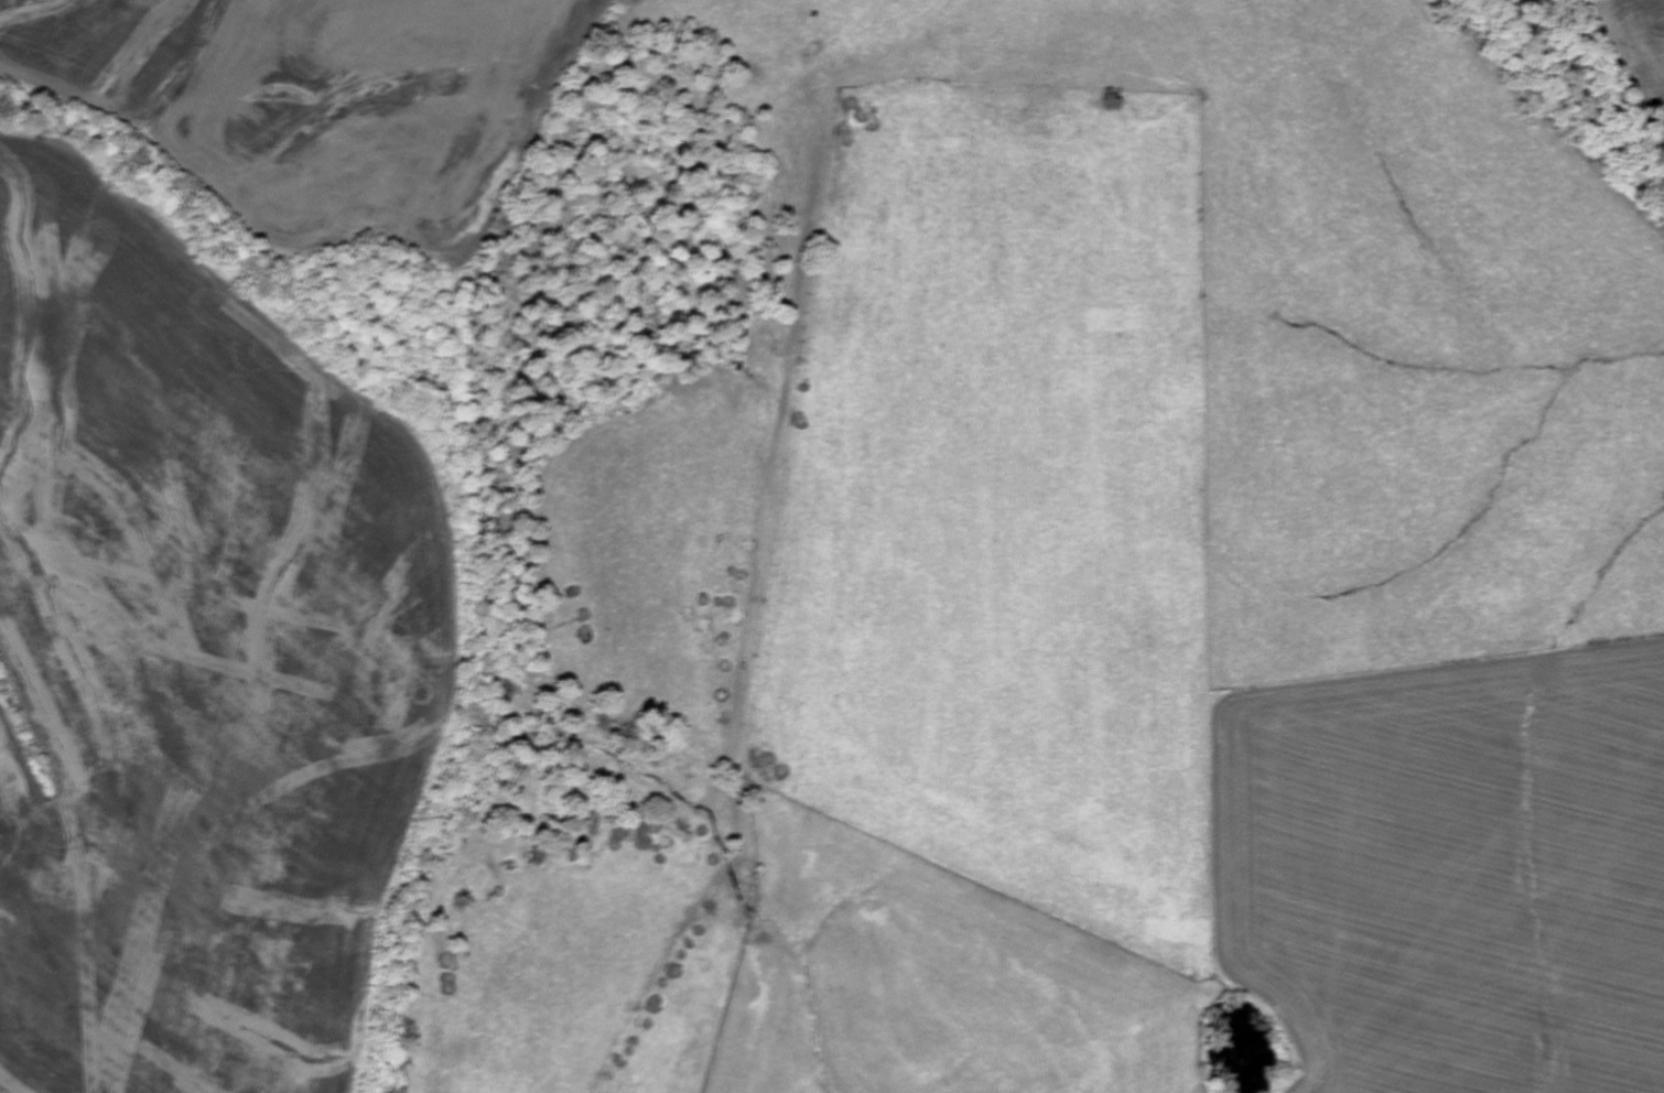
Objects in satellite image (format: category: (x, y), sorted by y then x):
road: (1616, 440)

